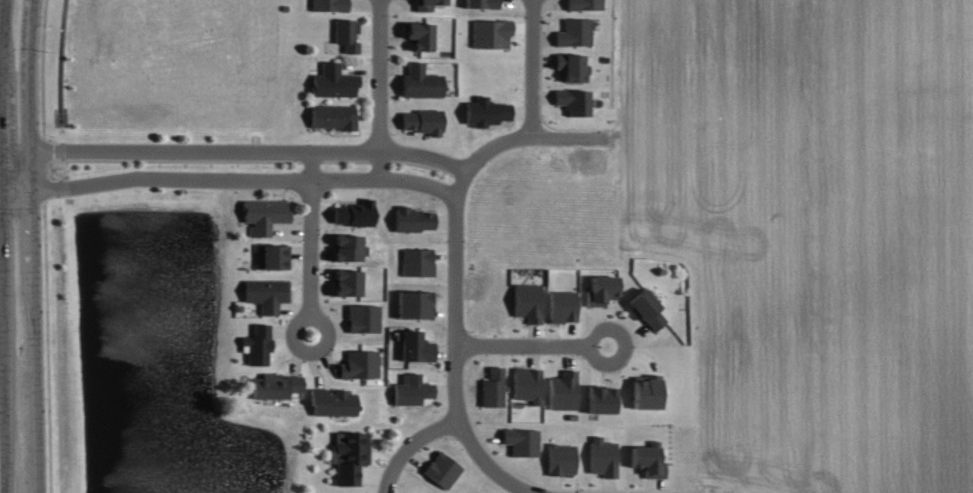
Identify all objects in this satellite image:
road: (0, 4)
building: (482, 4)
building: (585, 5)
building: (329, 6)
building: (491, 33)
building: (575, 33)
building: (347, 34)
building: (419, 34)
building: (571, 66)
road: (534, 68)
building: (333, 82)
building: (421, 82)
road: (379, 88)
building: (574, 101)
building: (486, 111)
building: (333, 116)
building: (423, 121)
road: (235, 150)
road: (230, 178)
road: (0, 188)
building: (354, 213)
building: (264, 215)
building: (414, 219)
road: (310, 242)
road: (31, 246)
building: (348, 247)
building: (272, 256)
building: (417, 262)
road: (456, 268)
building: (348, 282)
building: (603, 290)
road: (2, 293)
building: (267, 294)
building: (528, 302)
building: (415, 303)
building: (563, 306)
building: (646, 308)
building: (364, 318)
building: (258, 345)
road: (531, 345)
building: (416, 346)
building: (360, 364)
building: (527, 384)
building: (275, 386)
building: (493, 387)
building: (412, 390)
building: (564, 391)
building: (647, 393)
building: (602, 399)
building: (334, 403)
building: (522, 441)
road: (411, 445)
building: (350, 456)
building: (603, 456)
building: (648, 458)
building: (562, 459)
building: (442, 470)

